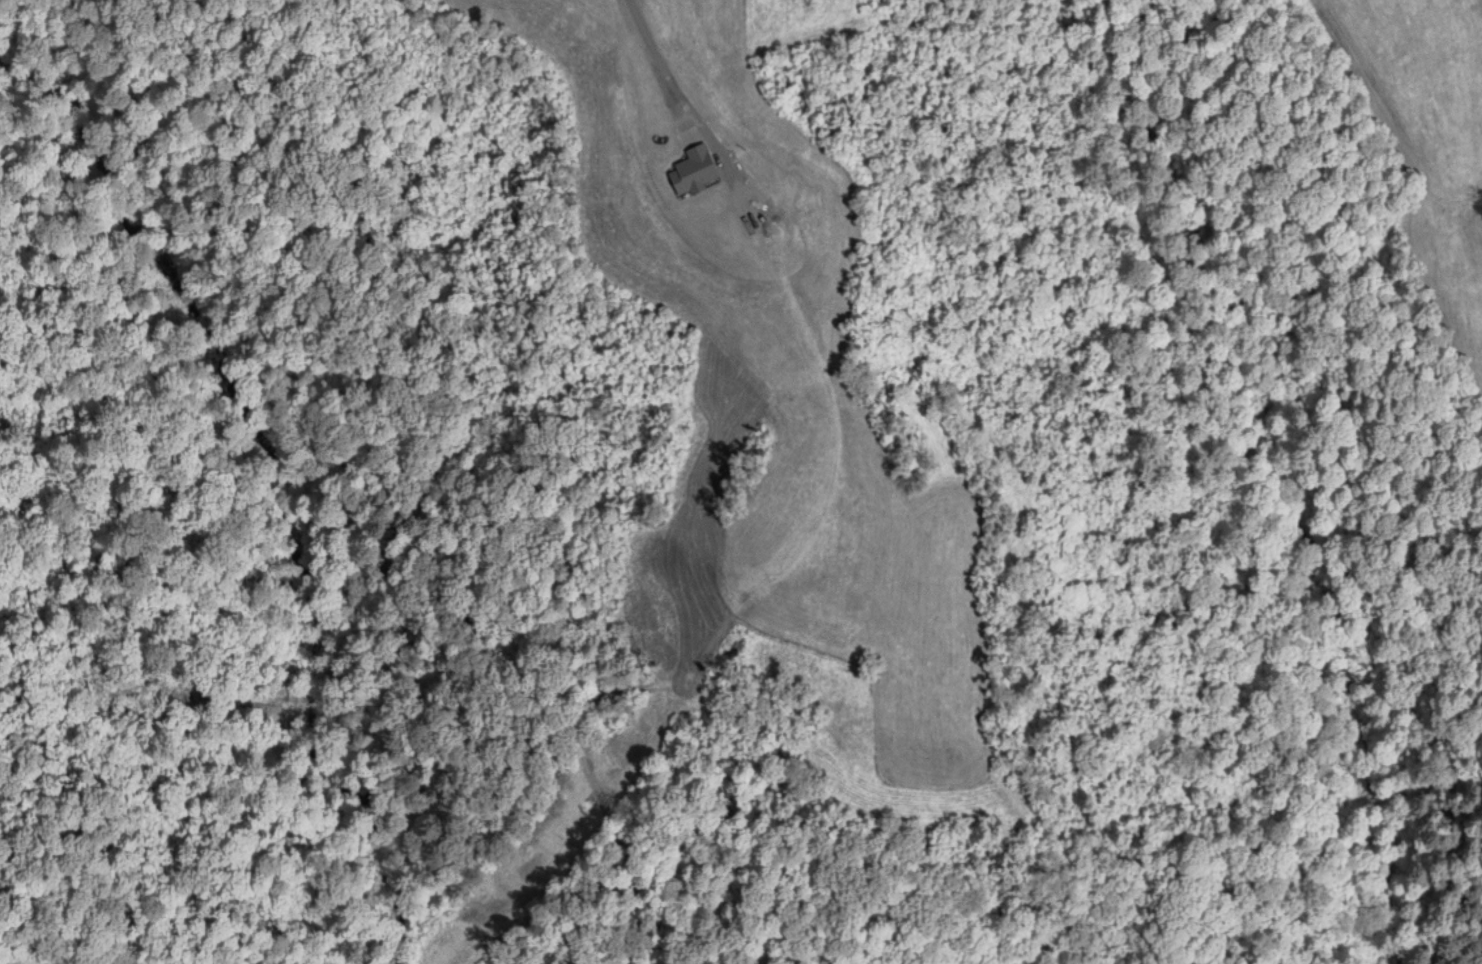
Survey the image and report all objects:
road: (686, 106)
building: (734, 200)

